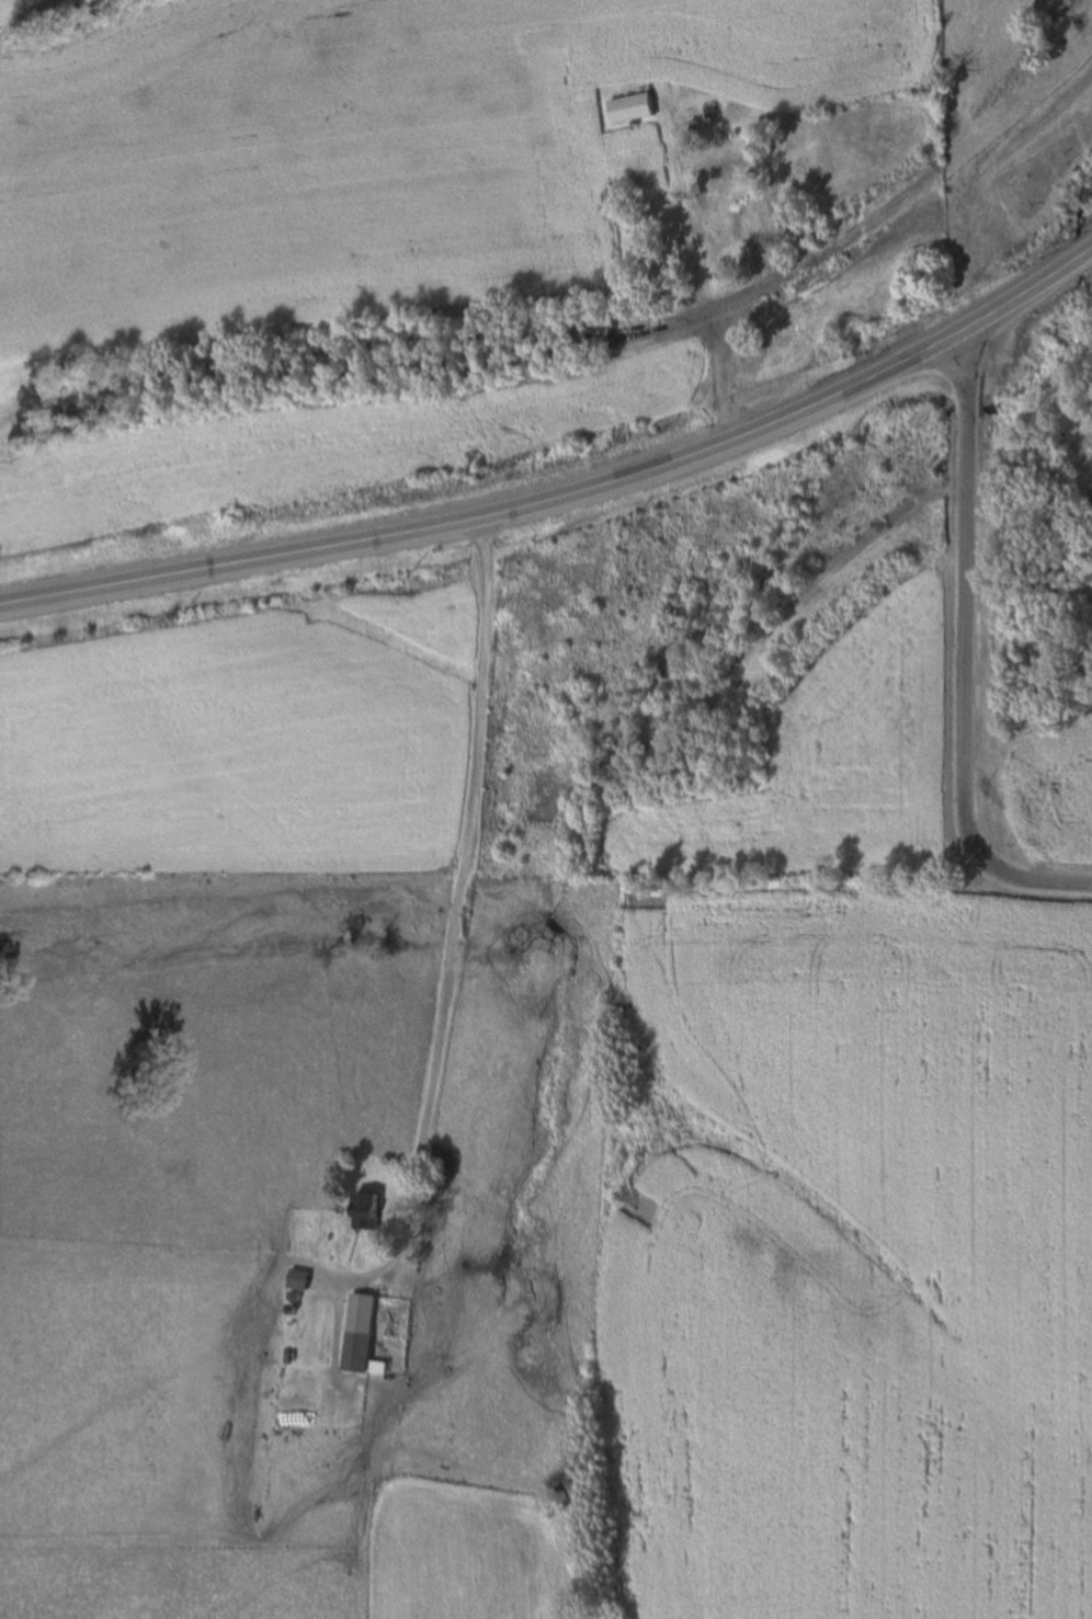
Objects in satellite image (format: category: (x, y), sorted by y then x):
building: (629, 109)
road: (947, 157)
road: (701, 266)
road: (698, 316)
road: (569, 494)
road: (962, 651)
mineshaft: (728, 749)
road: (452, 925)
building: (364, 1212)
building: (296, 1284)
building: (355, 1338)

